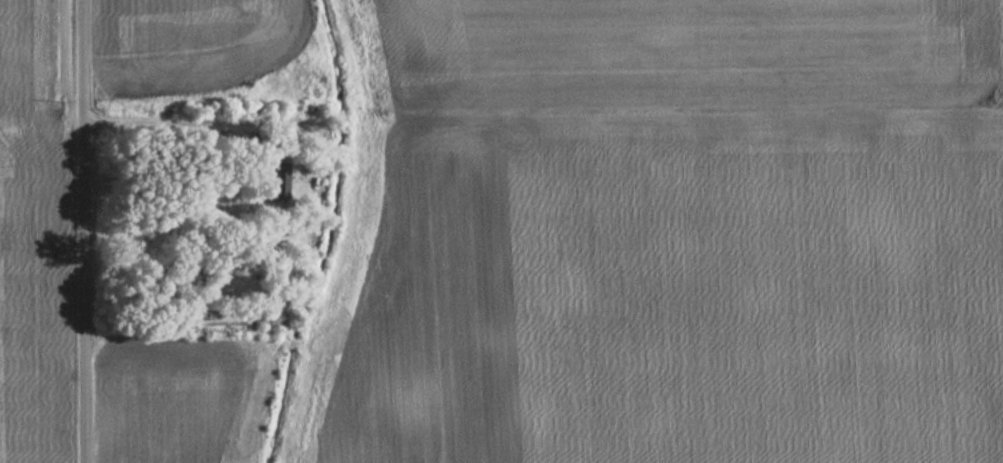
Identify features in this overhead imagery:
crop: (199, 35)
crop: (680, 54)
road: (219, 121)
road: (83, 231)
crop: (23, 235)
crop: (741, 287)
crop: (411, 302)
crop: (164, 393)

